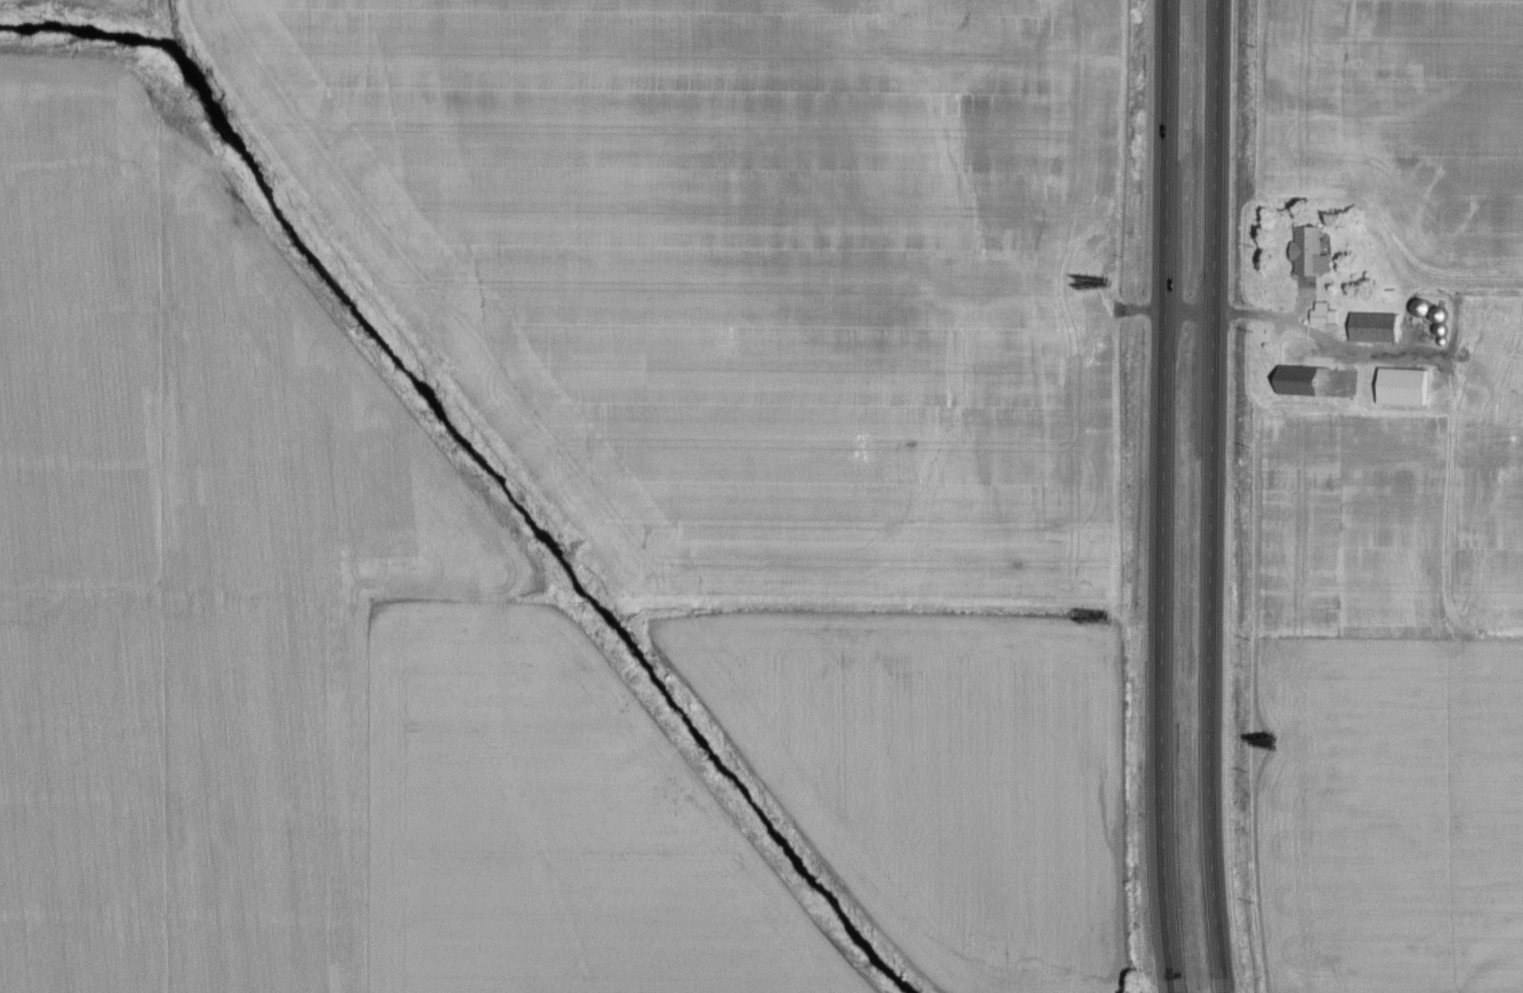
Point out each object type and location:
building: (1307, 252)
road: (1294, 325)
building: (1372, 329)
building: (1299, 383)
building: (1398, 388)
road: (1161, 496)
road: (1210, 496)

